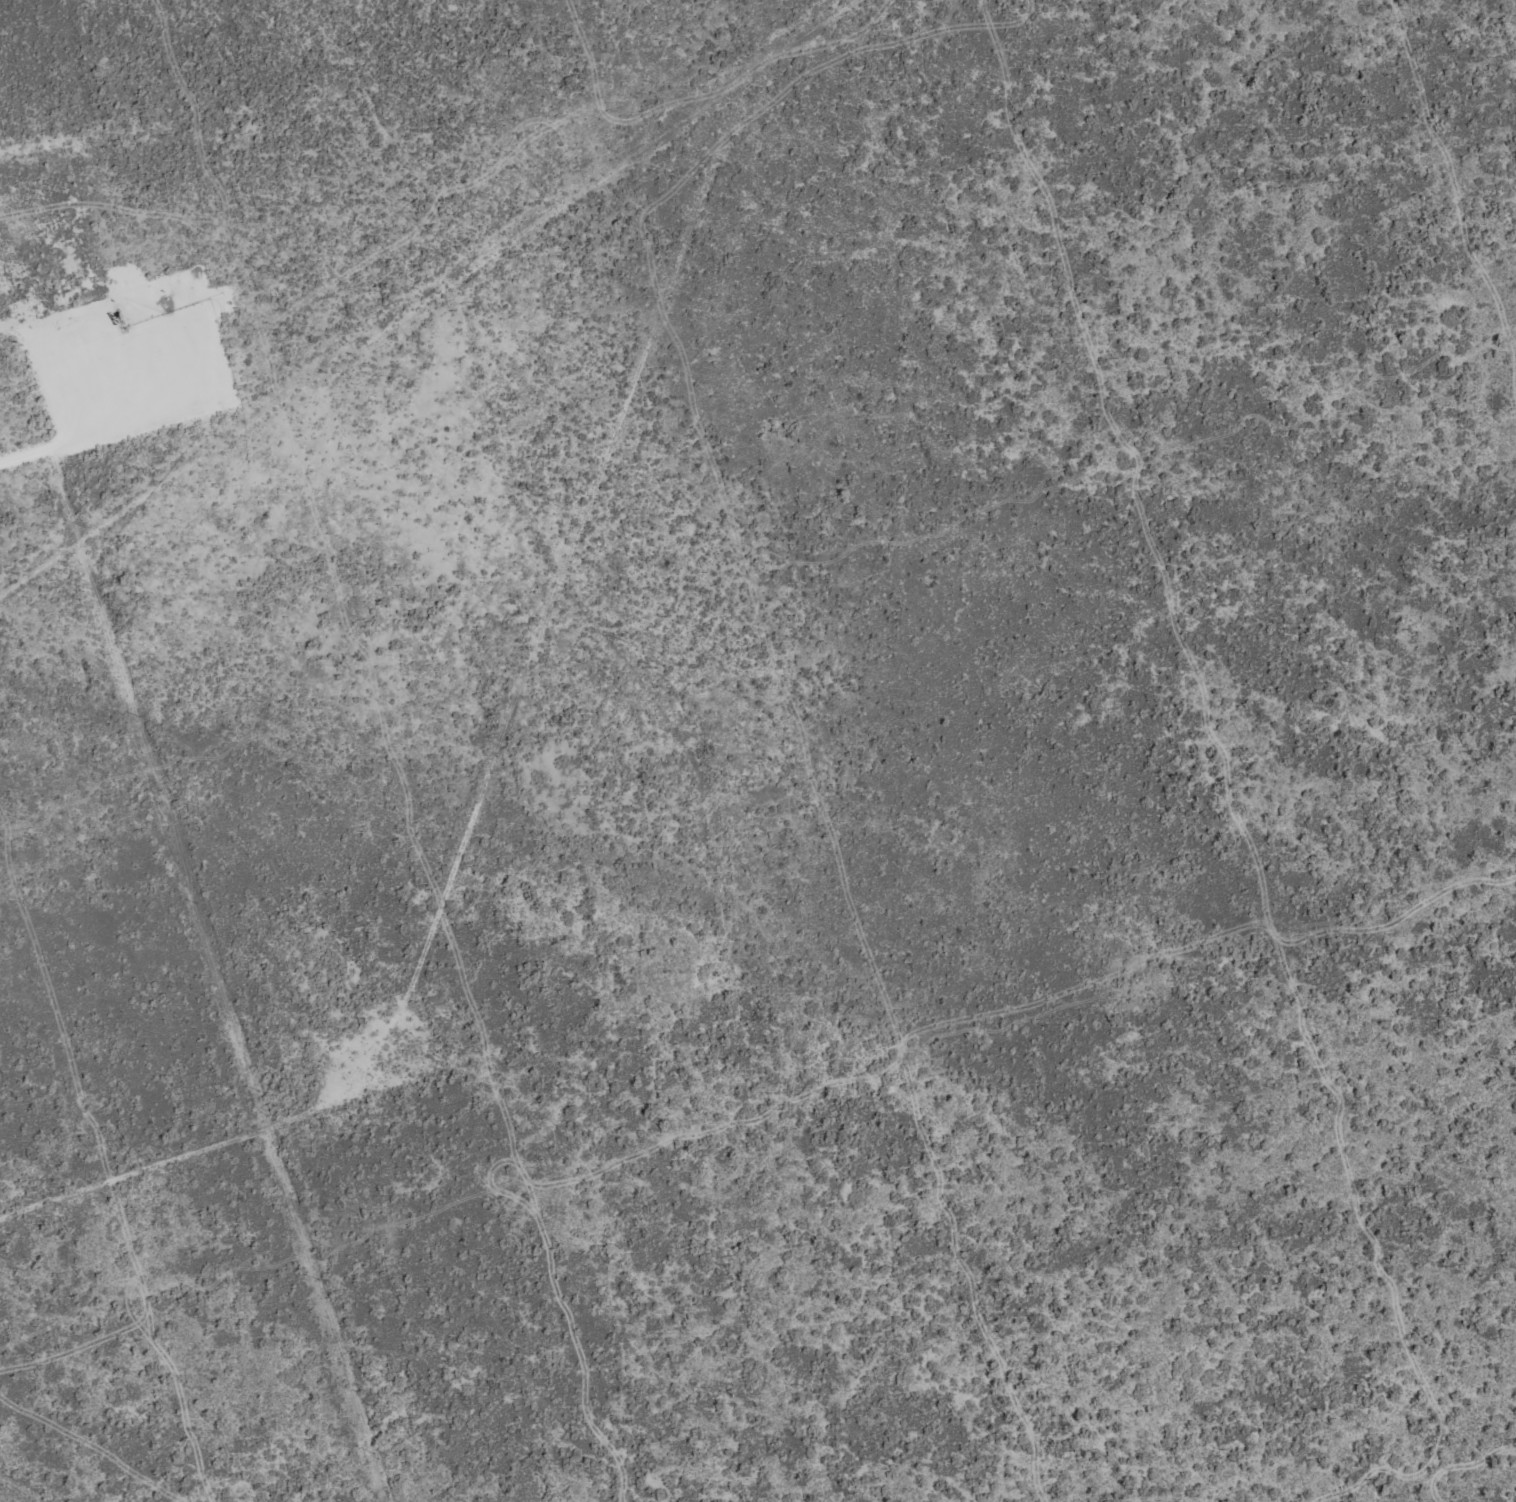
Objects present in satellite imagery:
road: (692, 721)
road: (503, 740)

